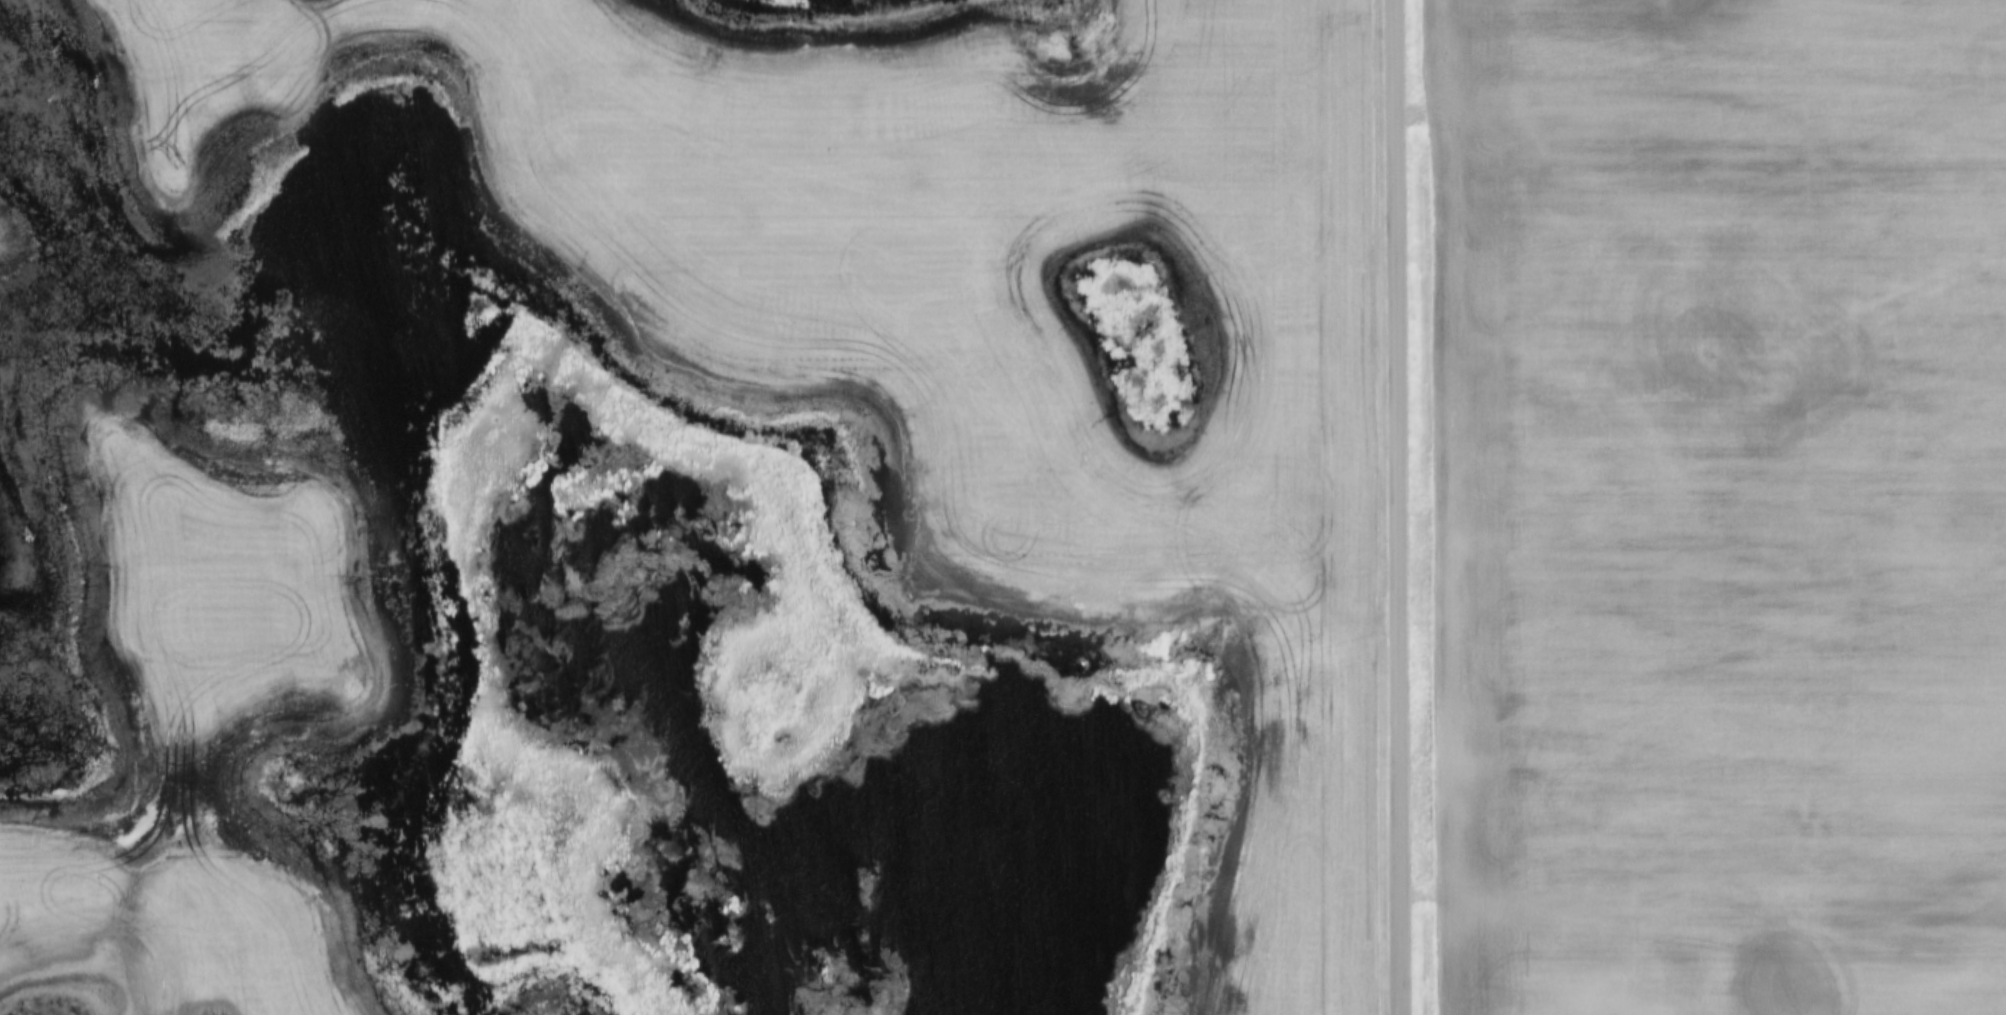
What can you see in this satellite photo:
road: (1396, 507)

